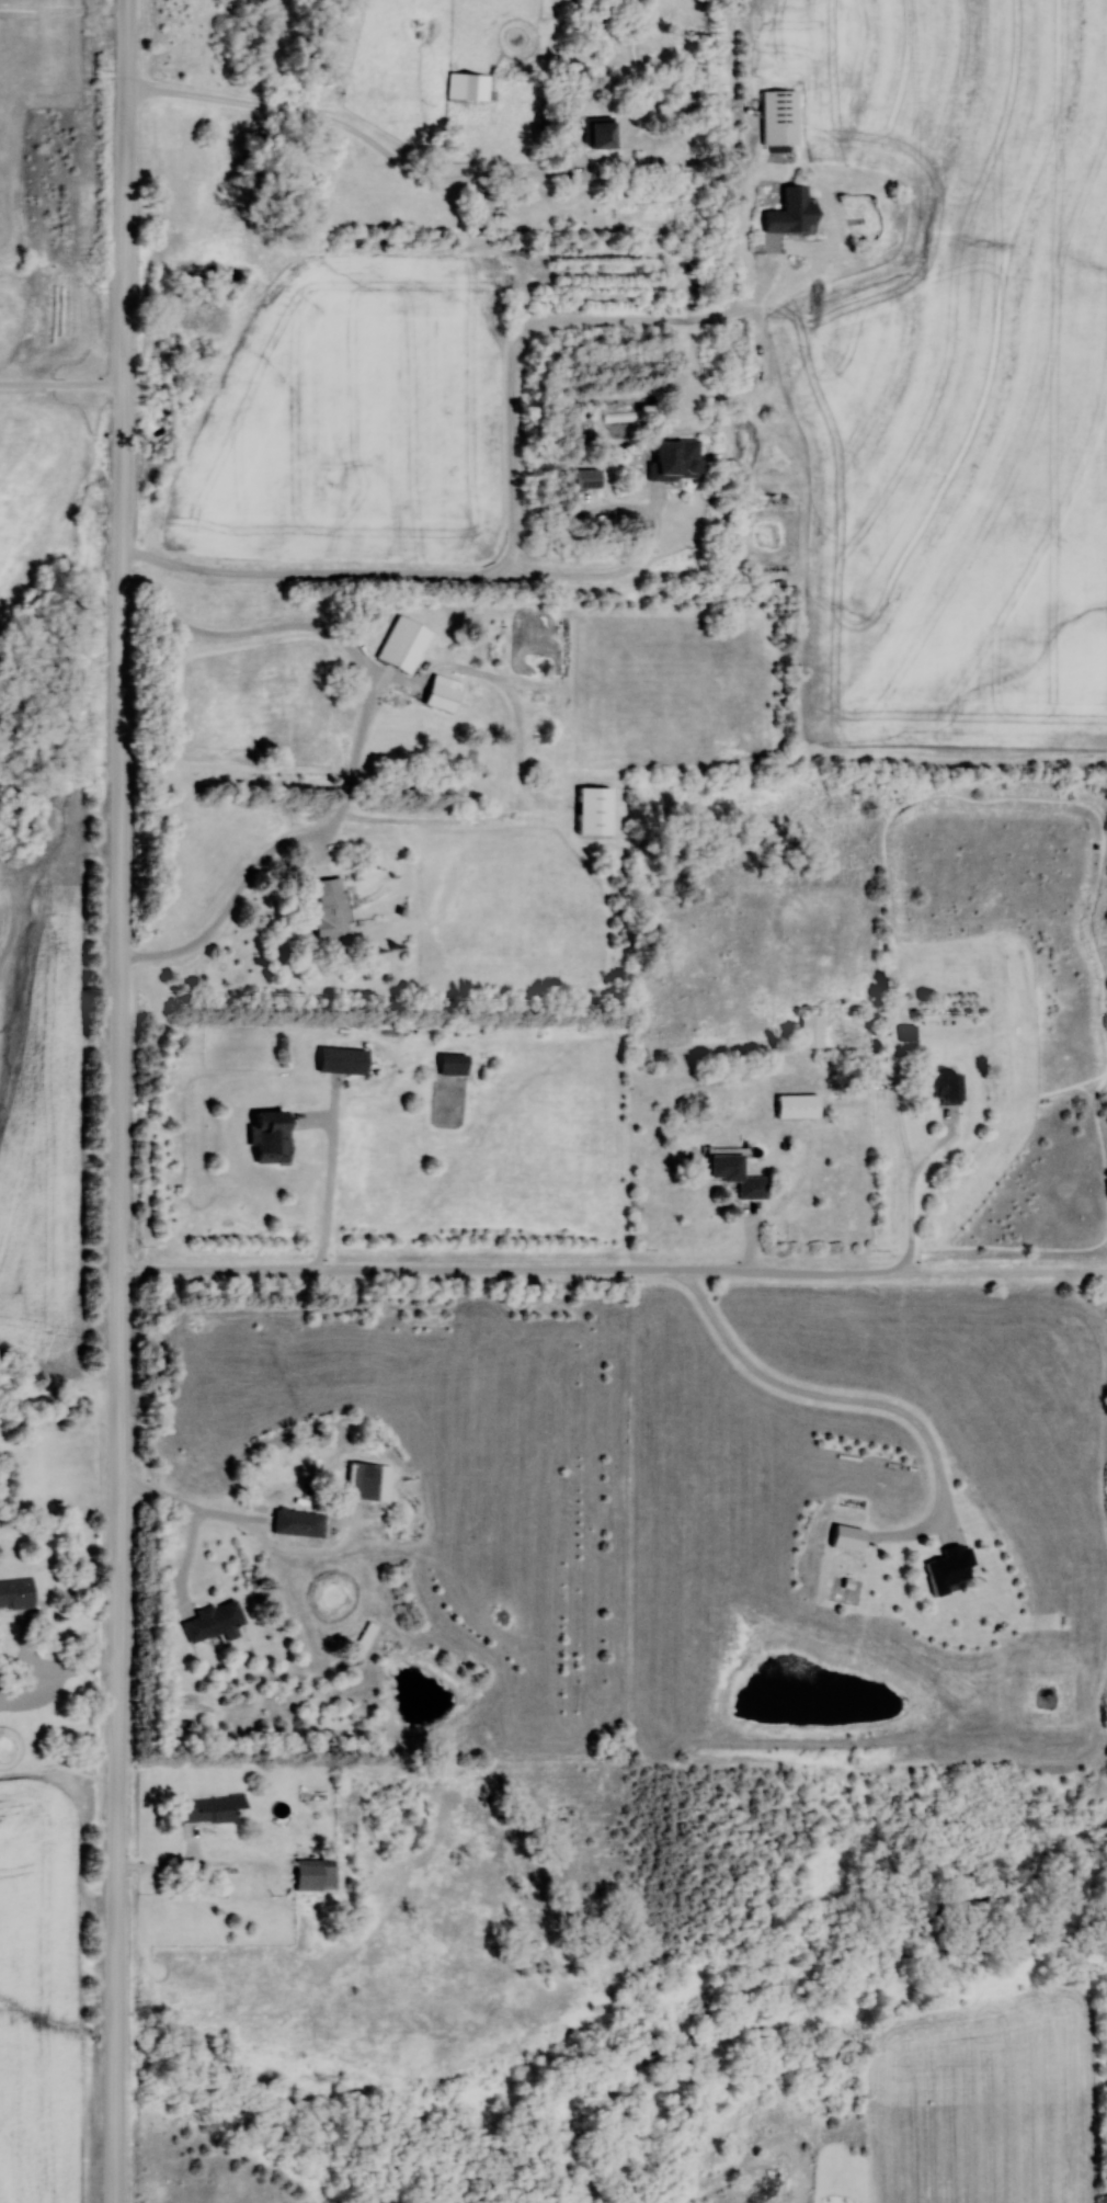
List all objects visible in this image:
building: (468, 86)
building: (598, 132)
road: (391, 158)
building: (791, 211)
road: (61, 385)
building: (677, 461)
building: (586, 478)
road: (513, 489)
road: (609, 576)
building: (403, 644)
building: (443, 693)
road: (358, 748)
building: (594, 811)
building: (329, 909)
building: (811, 1031)
building: (908, 1034)
building: (343, 1061)
building: (453, 1064)
building: (944, 1088)
road: (119, 1101)
building: (798, 1106)
building: (271, 1137)
building: (737, 1173)
road: (329, 1196)
road: (584, 1271)
road: (823, 1396)
building: (368, 1480)
building: (299, 1522)
building: (848, 1536)
building: (950, 1566)
building: (16, 1592)
building: (213, 1620)
building: (366, 1635)
building: (212, 1807)
building: (316, 1873)

